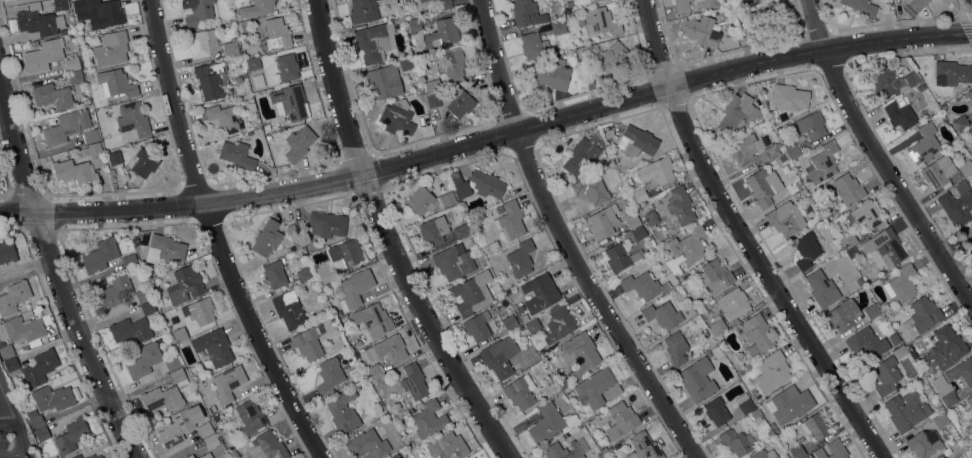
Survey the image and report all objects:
building: (422, 0)
building: (596, 0)
building: (390, 2)
building: (60, 4)
building: (568, 4)
building: (440, 5)
building: (682, 6)
building: (913, 6)
building: (860, 7)
building: (256, 8)
building: (363, 11)
building: (199, 12)
building: (98, 13)
building: (527, 13)
building: (571, 15)
building: (764, 20)
building: (600, 21)
building: (38, 22)
building: (580, 22)
building: (414, 25)
building: (558, 27)
building: (701, 30)
building: (442, 33)
building: (275, 34)
building: (374, 42)
building: (202, 43)
road: (658, 44)
building: (534, 46)
building: (111, 48)
building: (230, 48)
building: (43, 55)
building: (607, 59)
building: (407, 63)
building: (73, 64)
building: (253, 64)
building: (450, 64)
building: (287, 66)
building: (951, 73)
building: (551, 75)
building: (75, 77)
building: (211, 79)
building: (383, 81)
building: (893, 82)
building: (117, 84)
building: (432, 85)
building: (970, 94)
building: (52, 96)
building: (789, 97)
building: (432, 99)
building: (289, 101)
building: (459, 102)
building: (971, 105)
building: (899, 114)
building: (737, 115)
building: (133, 119)
building: (224, 119)
building: (396, 119)
building: (959, 123)
building: (811, 125)
building: (66, 126)
building: (266, 127)
building: (970, 132)
building: (91, 136)
road: (488, 139)
building: (637, 141)
building: (298, 143)
building: (924, 144)
building: (744, 149)
building: (792, 151)
building: (772, 152)
building: (584, 153)
building: (92, 154)
building: (237, 155)
building: (114, 157)
road: (880, 157)
building: (782, 158)
building: (144, 163)
building: (822, 163)
building: (966, 167)
building: (74, 171)
building: (657, 171)
building: (938, 172)
building: (487, 183)
building: (459, 184)
building: (798, 184)
building: (763, 186)
building: (591, 190)
building: (846, 191)
building: (803, 192)
building: (639, 195)
building: (429, 201)
building: (957, 204)
building: (680, 205)
building: (499, 209)
building: (865, 215)
building: (651, 218)
building: (785, 219)
building: (510, 220)
building: (632, 221)
building: (327, 224)
building: (600, 224)
building: (434, 230)
building: (461, 231)
building: (294, 234)
building: (967, 234)
building: (635, 235)
road: (572, 237)
road: (215, 238)
building: (266, 238)
building: (136, 240)
road: (392, 240)
building: (848, 240)
building: (689, 244)
building: (885, 247)
building: (164, 249)
building: (806, 250)
building: (7, 252)
building: (100, 255)
building: (619, 257)
building: (339, 258)
building: (490, 258)
building: (520, 258)
building: (129, 261)
building: (453, 261)
building: (484, 263)
road: (56, 271)
building: (274, 274)
building: (304, 274)
building: (714, 276)
road: (771, 276)
building: (859, 282)
building: (901, 284)
building: (185, 285)
building: (643, 285)
building: (822, 288)
building: (354, 289)
building: (115, 290)
building: (472, 292)
building: (542, 293)
building: (143, 295)
building: (13, 297)
building: (733, 303)
building: (148, 308)
building: (289, 310)
building: (199, 311)
building: (871, 311)
building: (523, 314)
building: (662, 314)
building: (843, 314)
building: (922, 316)
building: (374, 320)
building: (509, 322)
building: (559, 323)
building: (477, 326)
building: (533, 326)
building: (719, 326)
building: (24, 330)
building: (130, 330)
building: (756, 334)
building: (178, 335)
building: (897, 341)
building: (309, 343)
building: (866, 345)
building: (214, 346)
building: (946, 346)
building: (390, 348)
building: (676, 348)
building: (6, 351)
building: (900, 351)
building: (580, 353)
building: (912, 353)
building: (497, 359)
building: (144, 360)
building: (172, 363)
building: (12, 366)
building: (40, 367)
building: (374, 371)
building: (771, 371)
building: (961, 371)
building: (329, 375)
building: (886, 375)
building: (697, 379)
building: (414, 381)
building: (228, 383)
building: (598, 387)
building: (520, 391)
building: (166, 393)
building: (945, 394)
building: (53, 398)
building: (969, 401)
building: (744, 403)
building: (791, 404)
building: (906, 410)
building: (716, 411)
building: (343, 412)
building: (225, 414)
building: (753, 414)
road: (6, 416)
building: (249, 418)
road: (14, 419)
building: (35, 419)
building: (428, 419)
building: (621, 420)
building: (940, 420)
building: (551, 423)
building: (816, 425)
building: (178, 426)
building: (205, 429)
building: (42, 434)
building: (71, 436)
building: (211, 441)
building: (735, 442)
building: (368, 444)
building: (924, 445)
building: (269, 446)
building: (447, 446)
building: (616, 446)
building: (643, 447)
building: (831, 450)
building: (562, 451)
building: (797, 451)
building: (764, 454)
road: (11, 455)
building: (77, 456)
building: (94, 456)
building: (190, 456)
building: (206, 456)
building: (395, 456)
building: (939, 456)
building: (472, 457)
building: (474, 457)
building: (955, 457)

